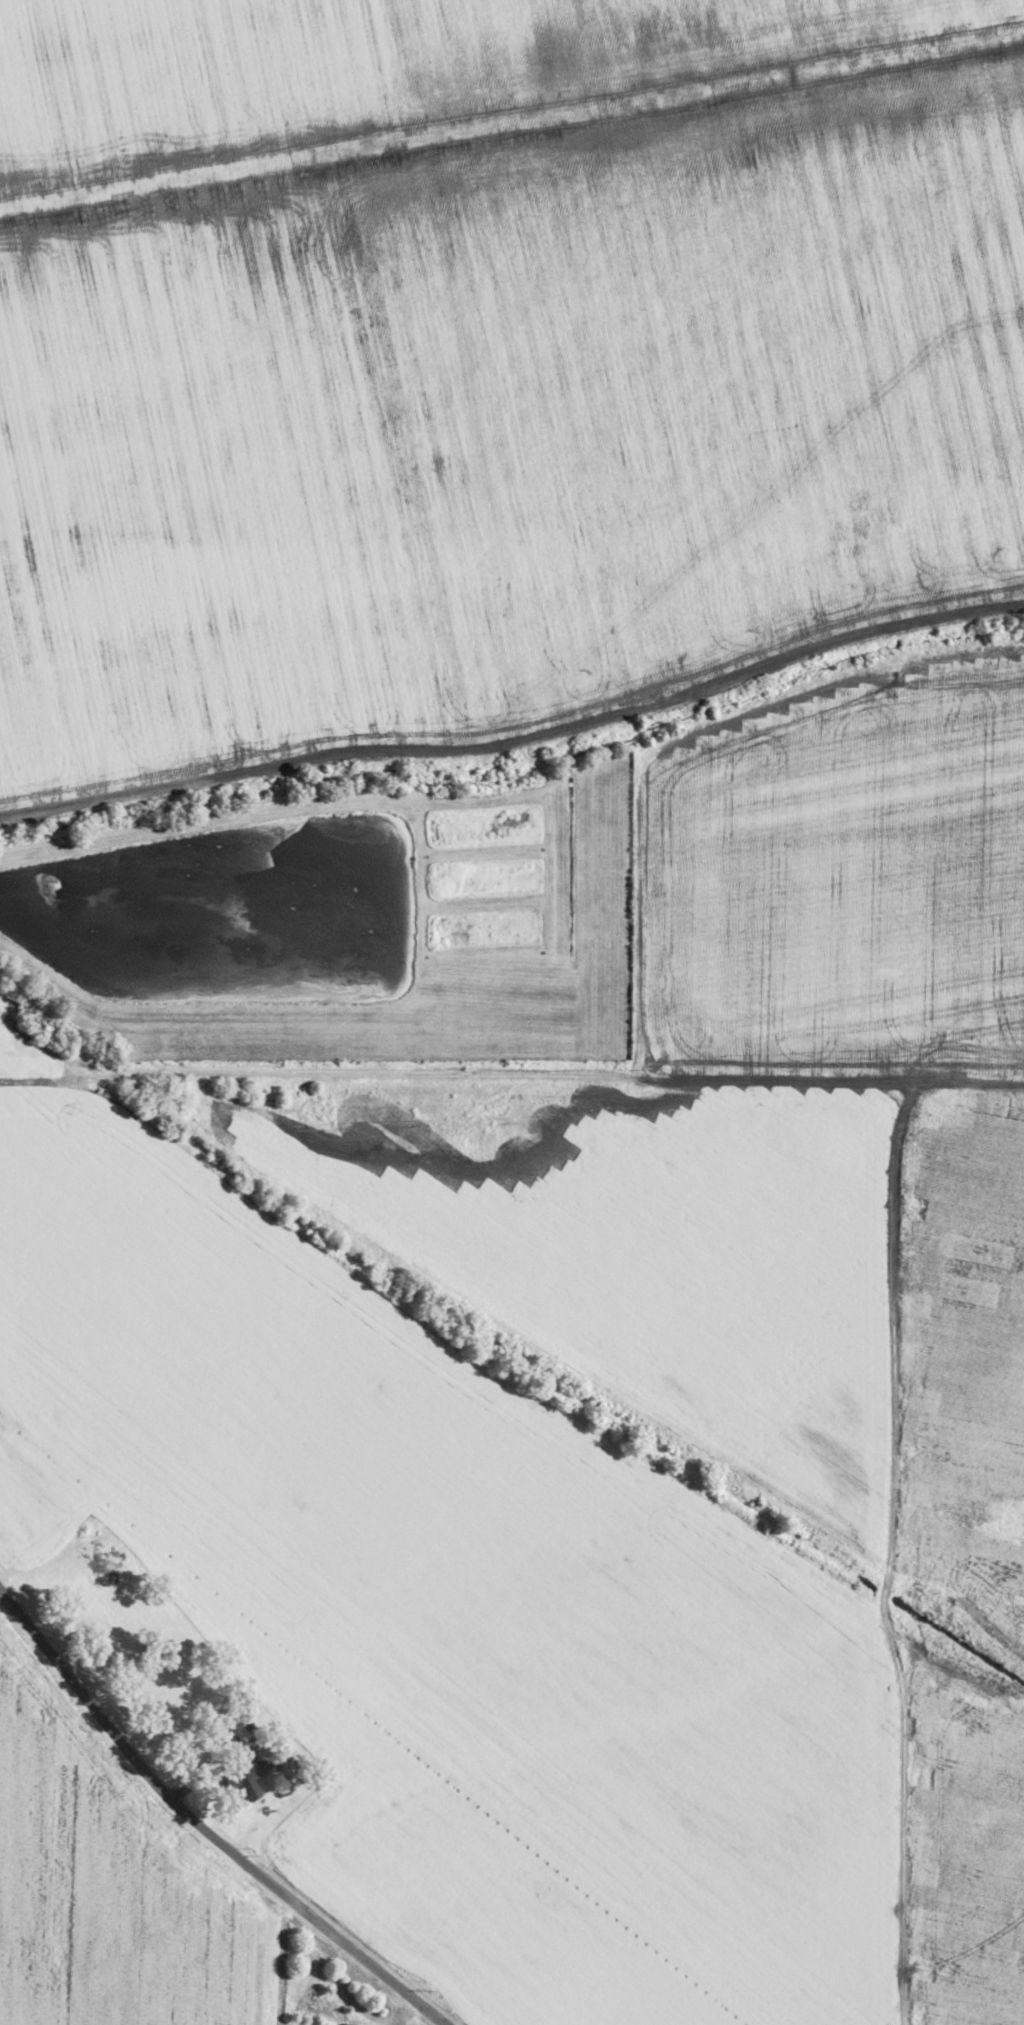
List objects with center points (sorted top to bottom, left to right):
building: (249, 1783)
road: (203, 1828)

